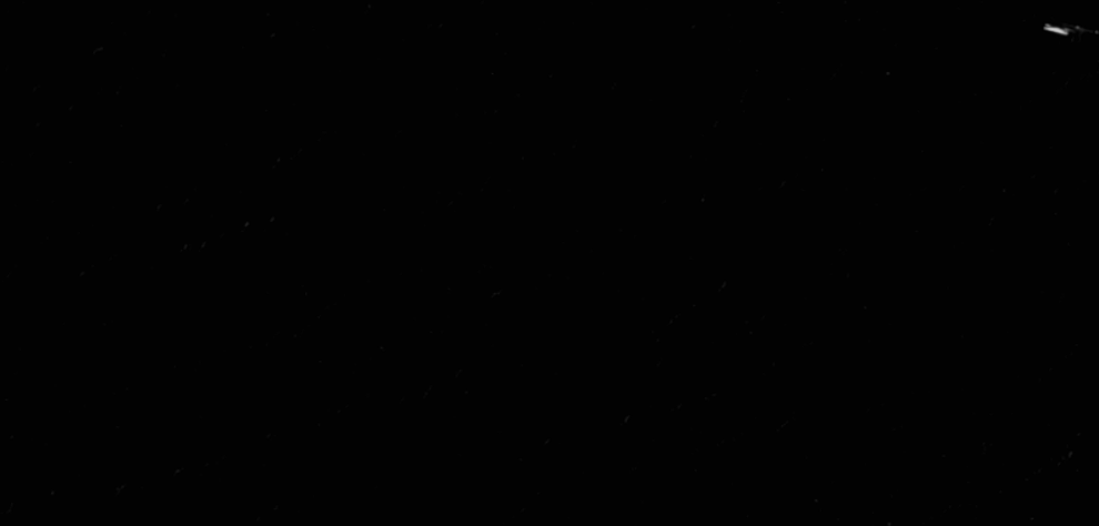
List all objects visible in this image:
power tower: (1046, 33)

